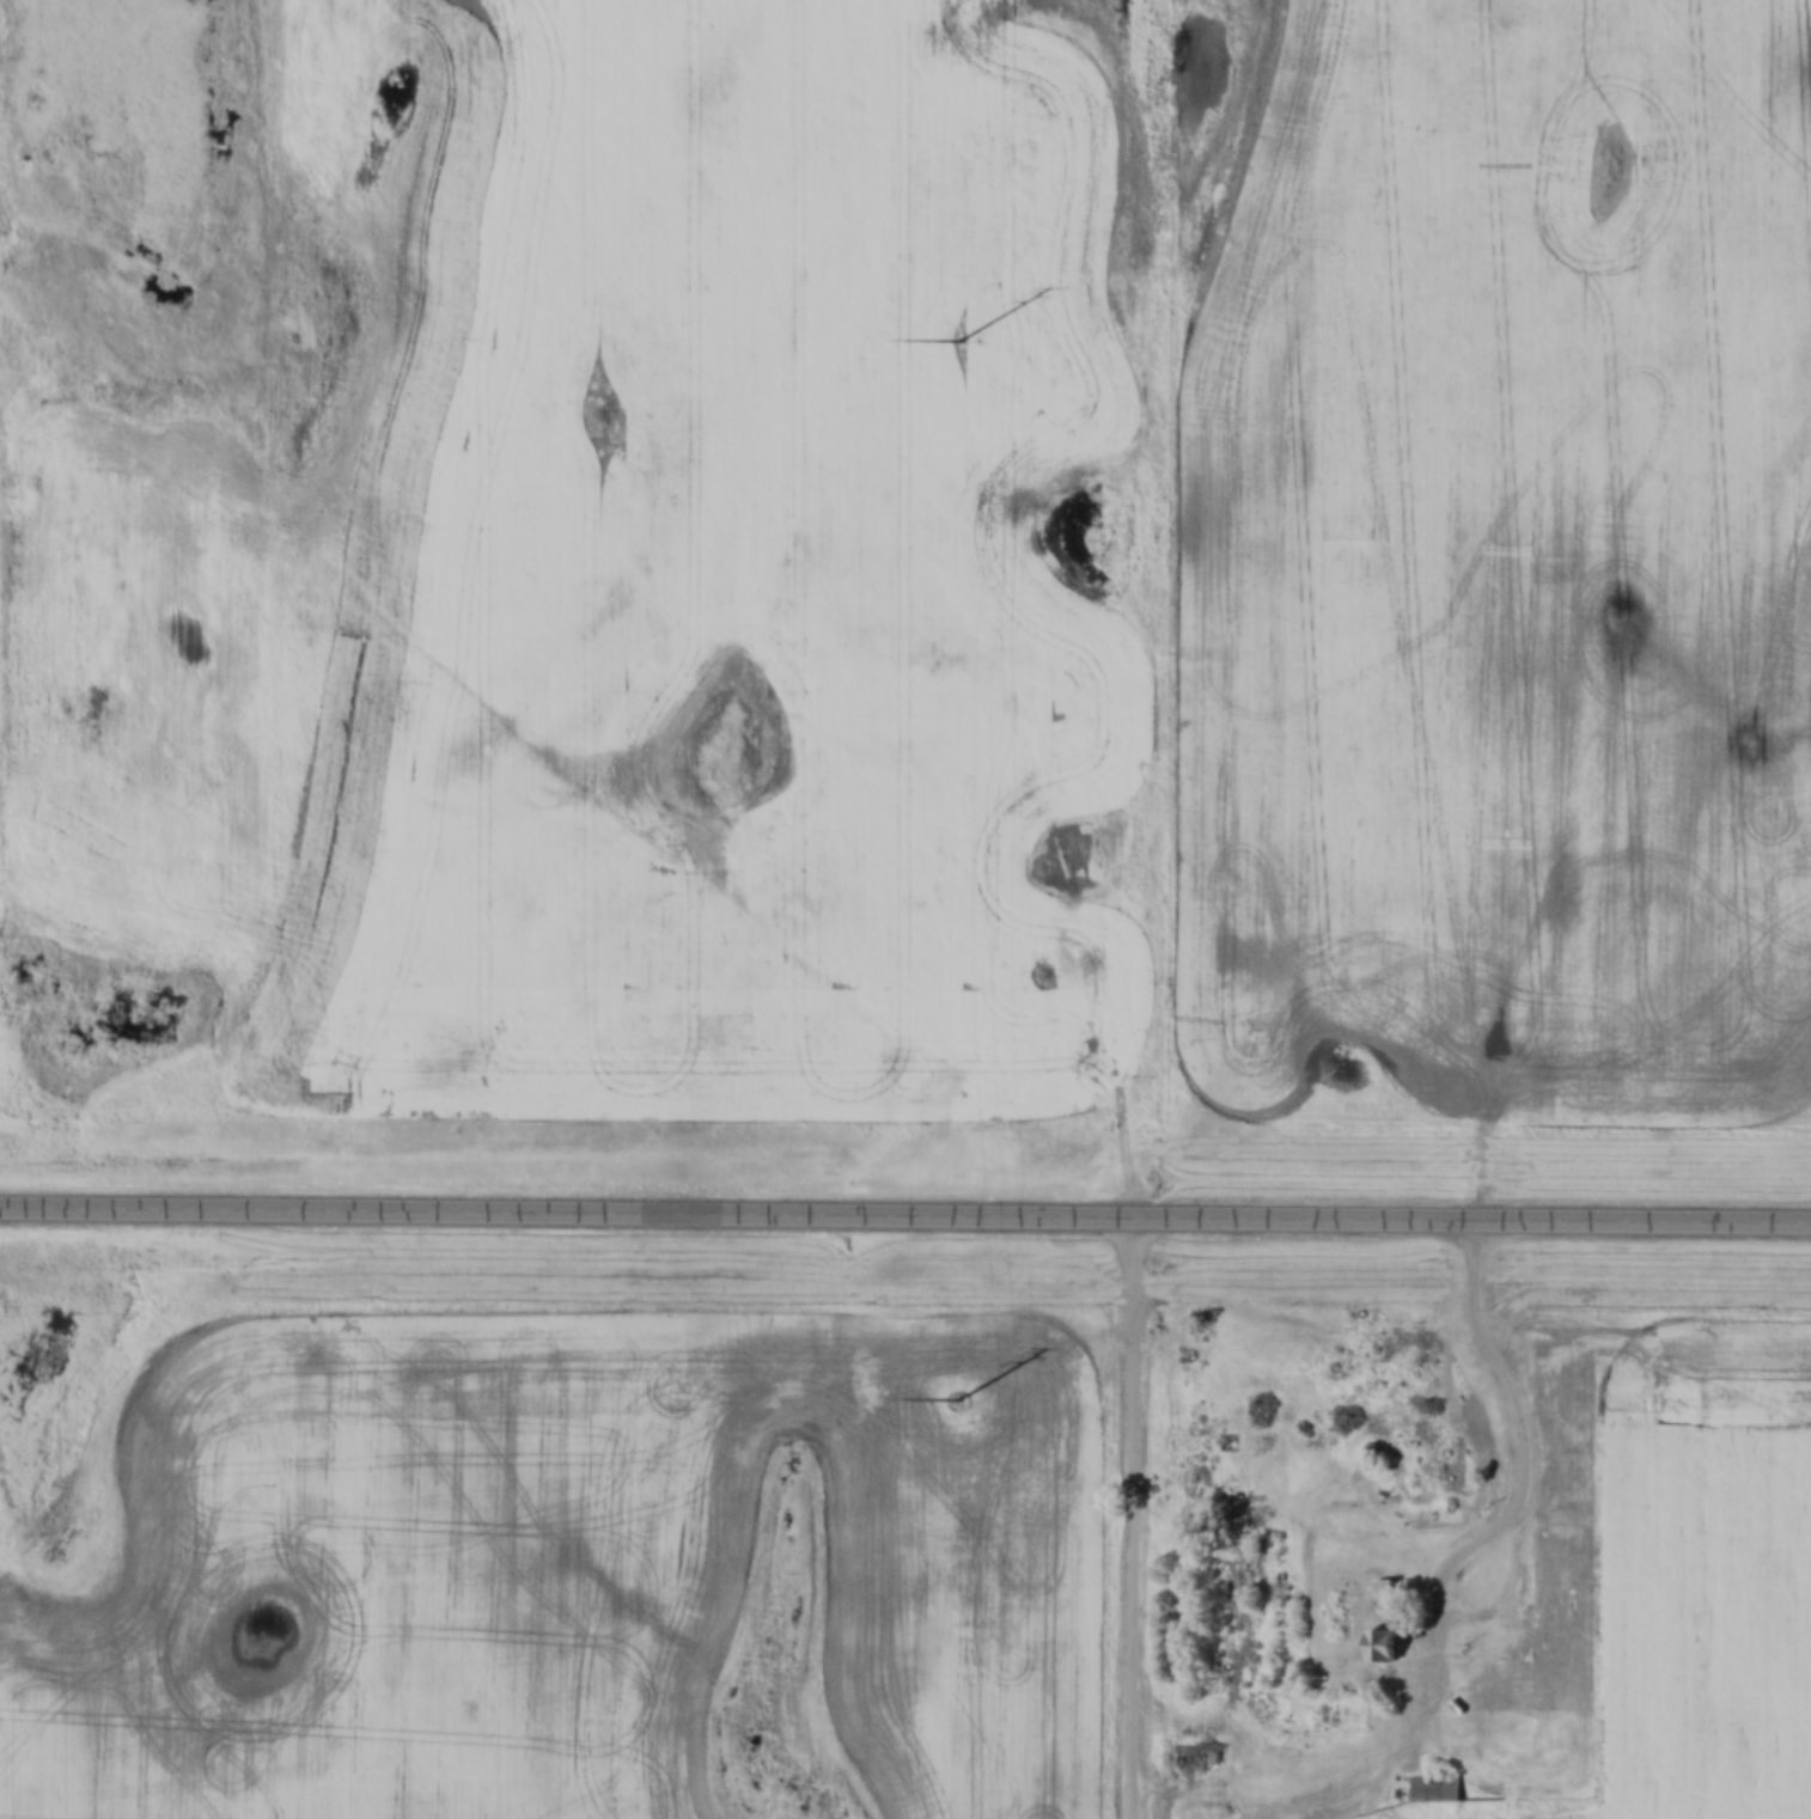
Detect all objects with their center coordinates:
power tower: (965, 329)
road: (905, 1223)
power tower: (964, 1399)
road: (1153, 1522)
building: (1384, 1586)
building: (1385, 1648)

